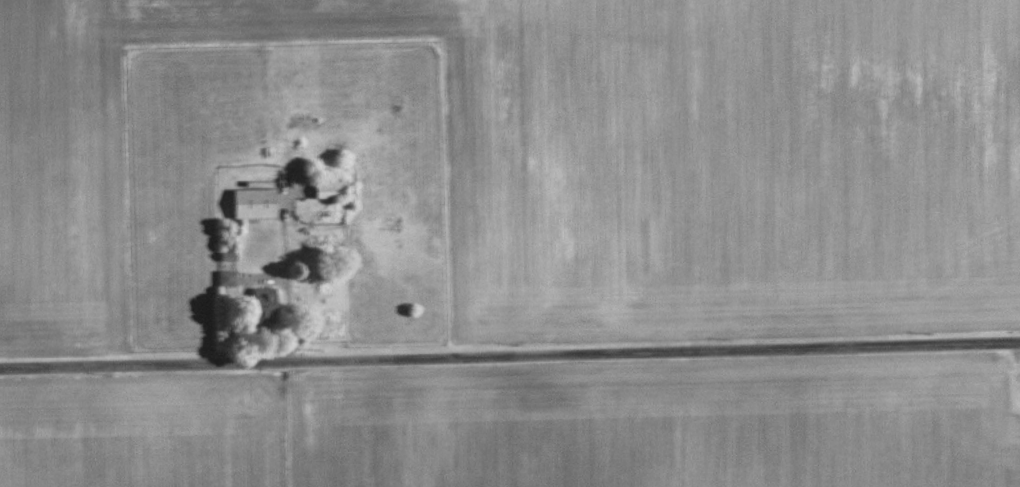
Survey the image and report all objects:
building: (322, 189)
building: (248, 201)
building: (222, 278)
building: (256, 305)
road: (510, 355)

